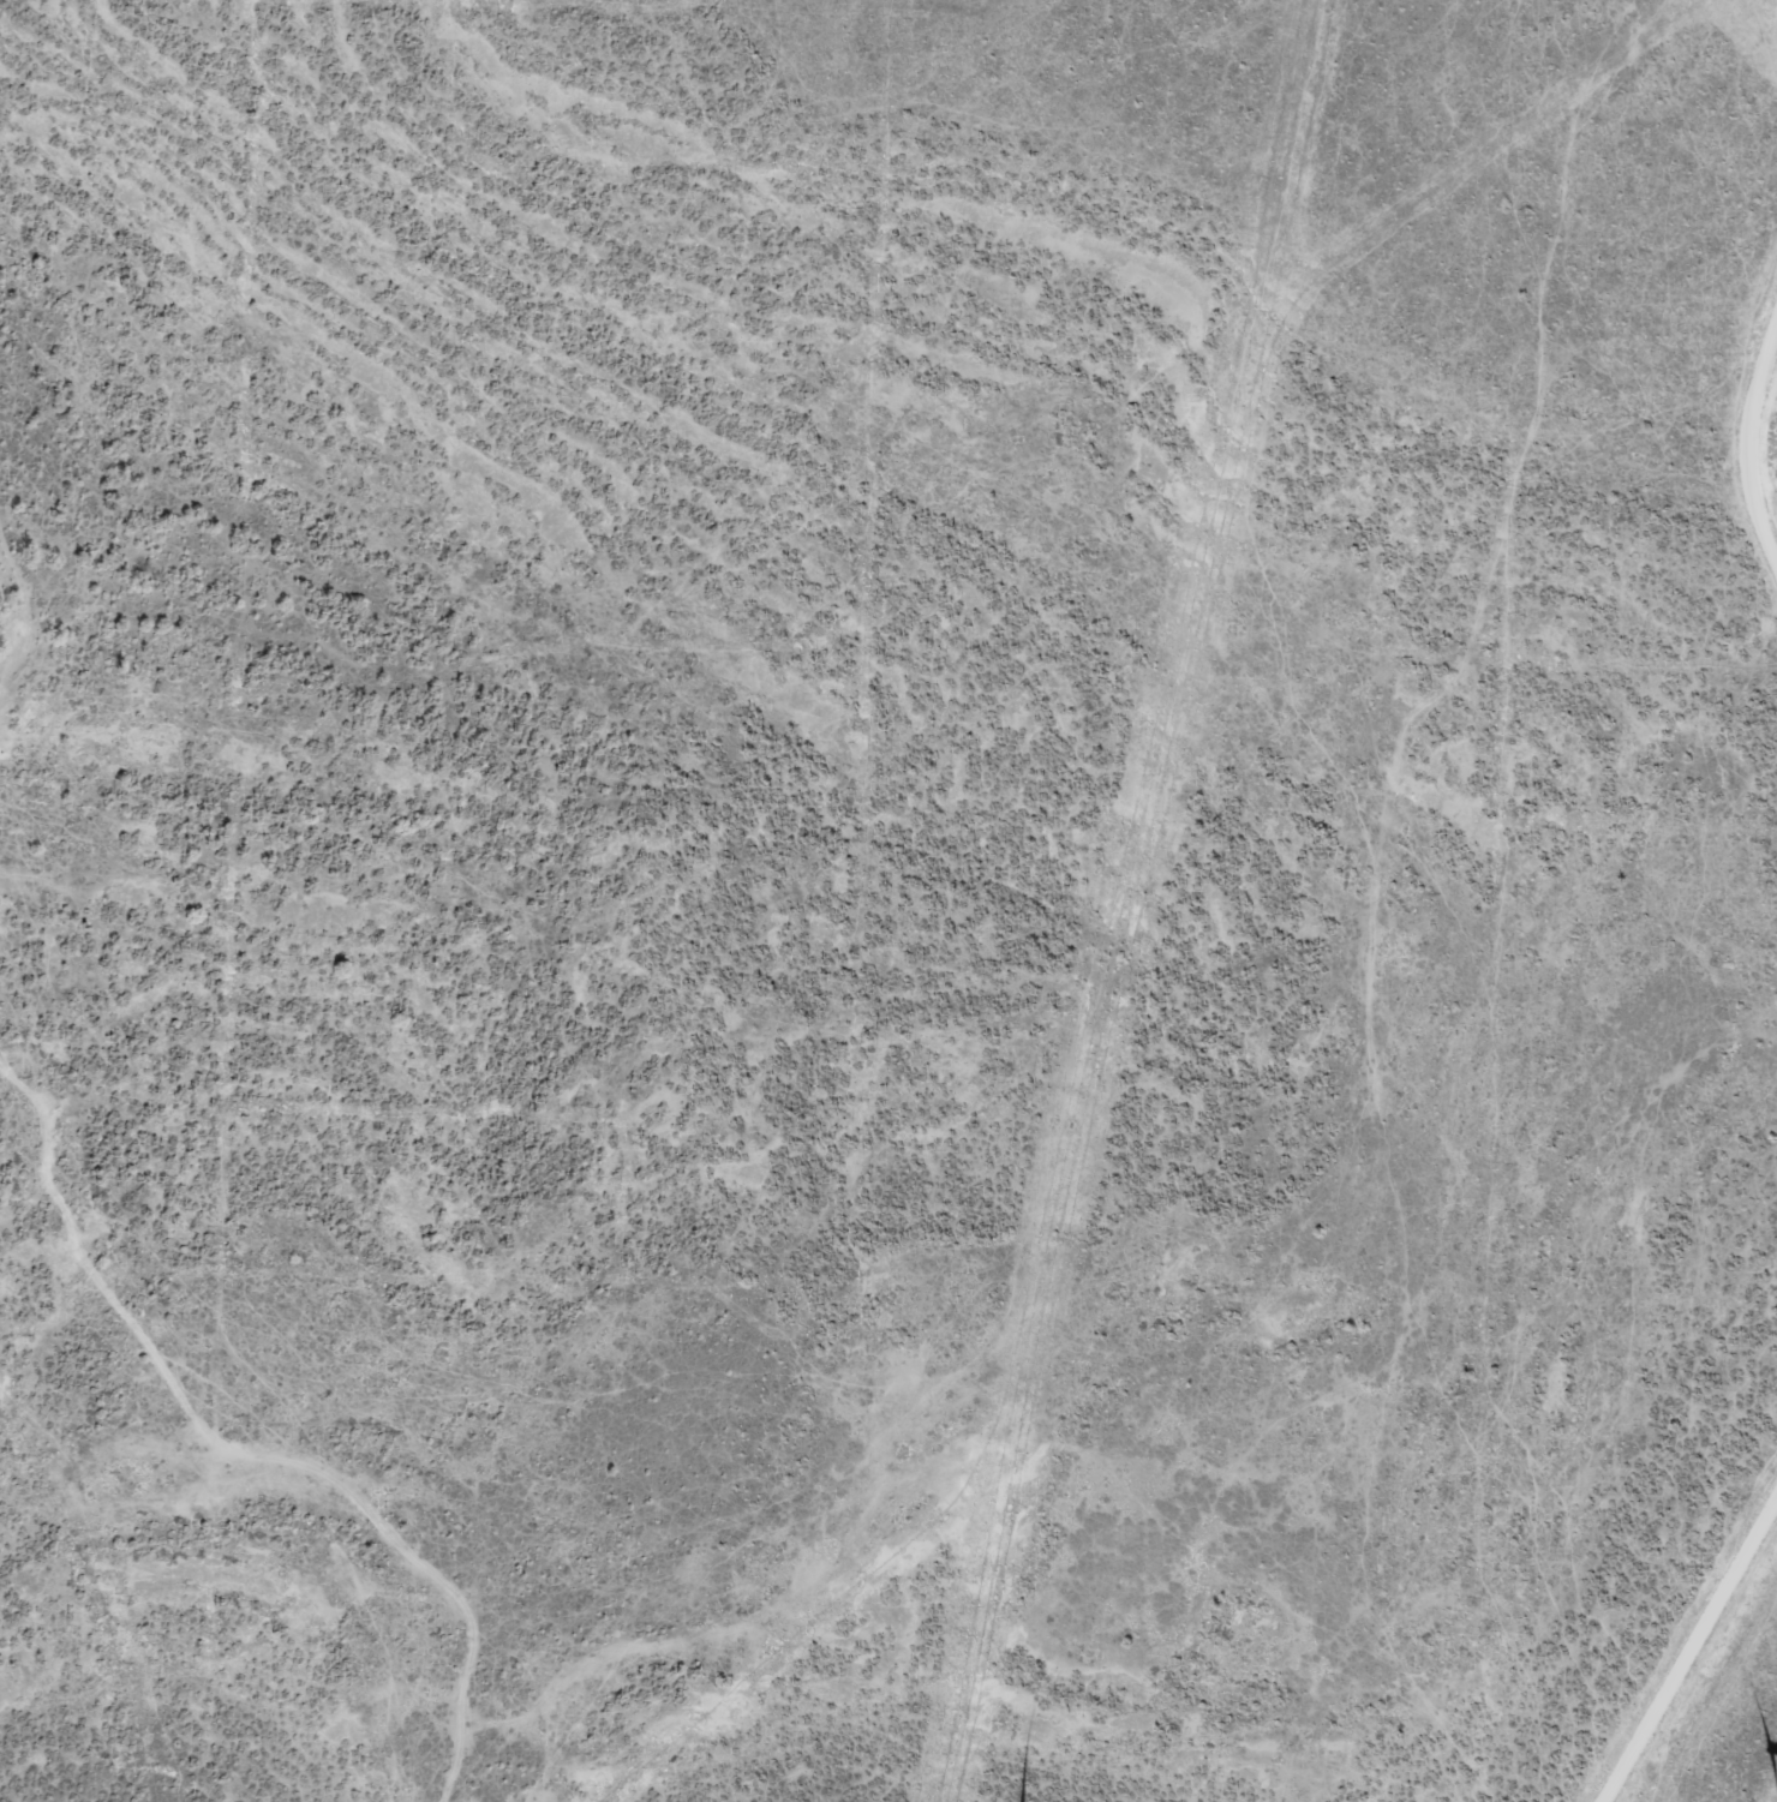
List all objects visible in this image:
road: (1748, 443)
road: (29, 635)
road: (255, 1462)
road: (1689, 1652)

